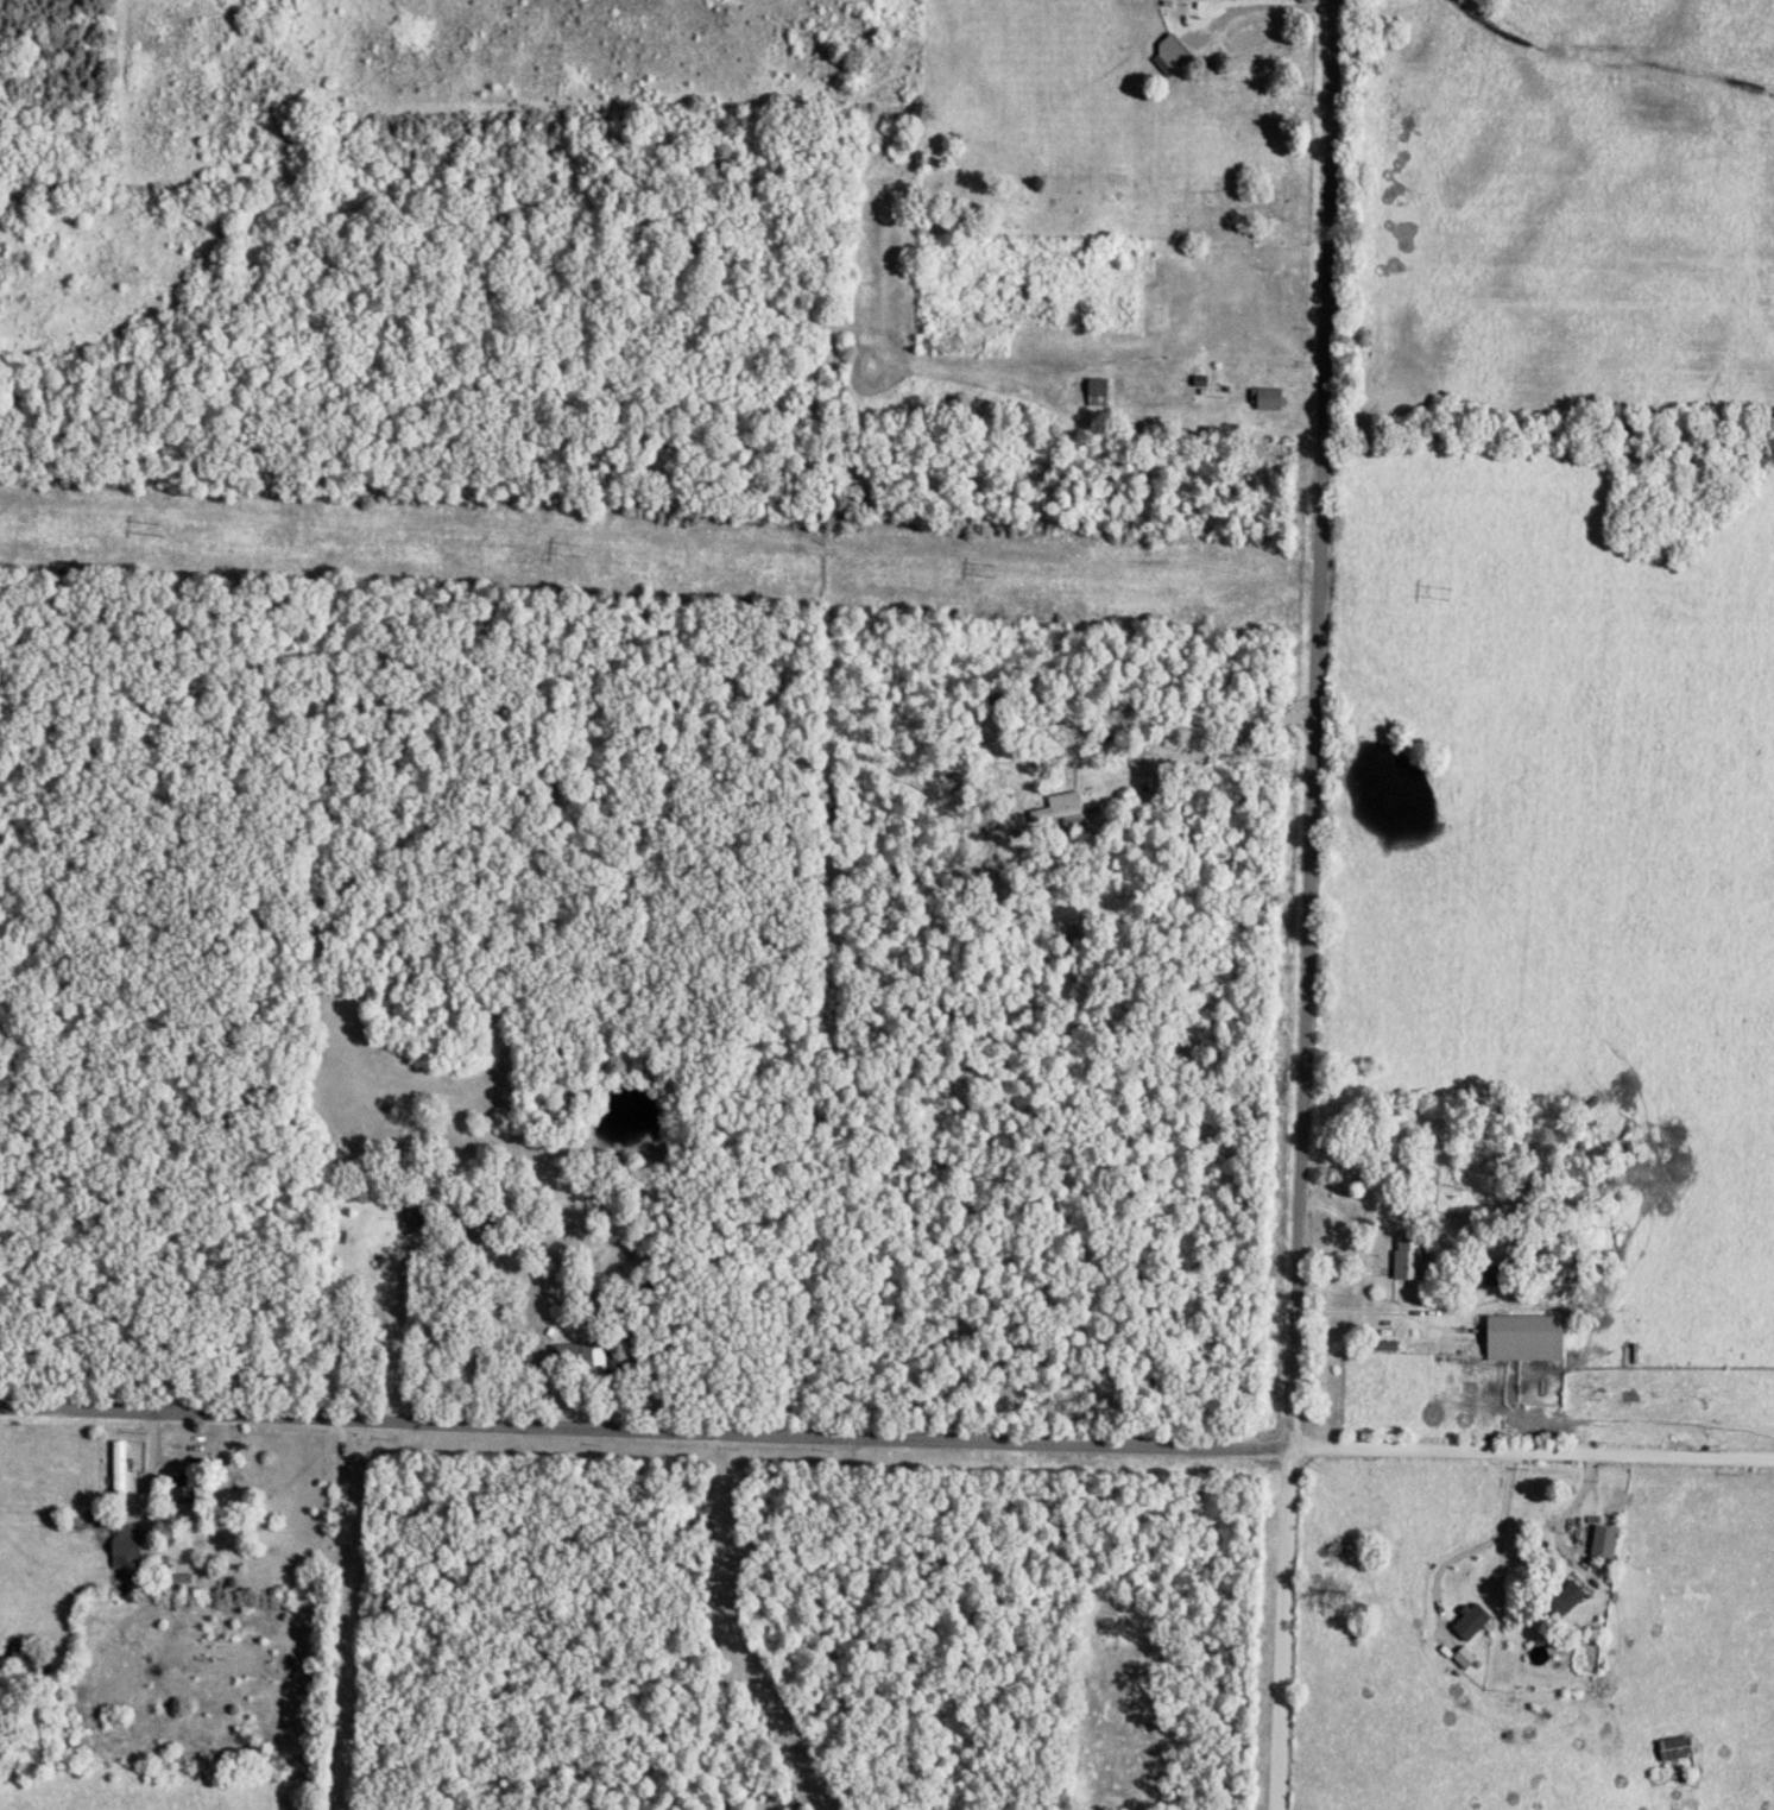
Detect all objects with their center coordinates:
building: (1169, 51)
building: (1268, 393)
power tower: (160, 534)
power tower: (577, 553)
power tower: (992, 573)
power tower: (1445, 598)
road: (1204, 755)
building: (1060, 802)
road: (1307, 904)
building: (411, 1210)
building: (1407, 1251)
building: (1523, 1333)
road: (397, 1351)
building: (593, 1352)
road: (886, 1439)
road: (151, 1456)
building: (118, 1467)
building: (182, 1486)
building: (1603, 1538)
building: (127, 1540)
road: (1464, 1589)
building: (1564, 1597)
road: (345, 1615)
building: (1470, 1619)
road: (741, 1629)
building: (1463, 1654)

